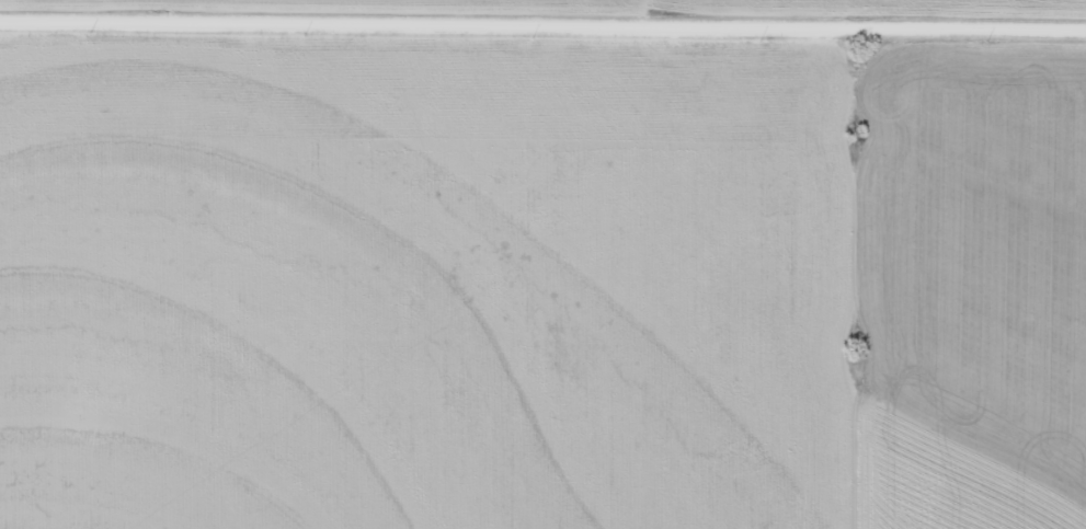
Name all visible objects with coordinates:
road: (662, 16)
road: (542, 32)

